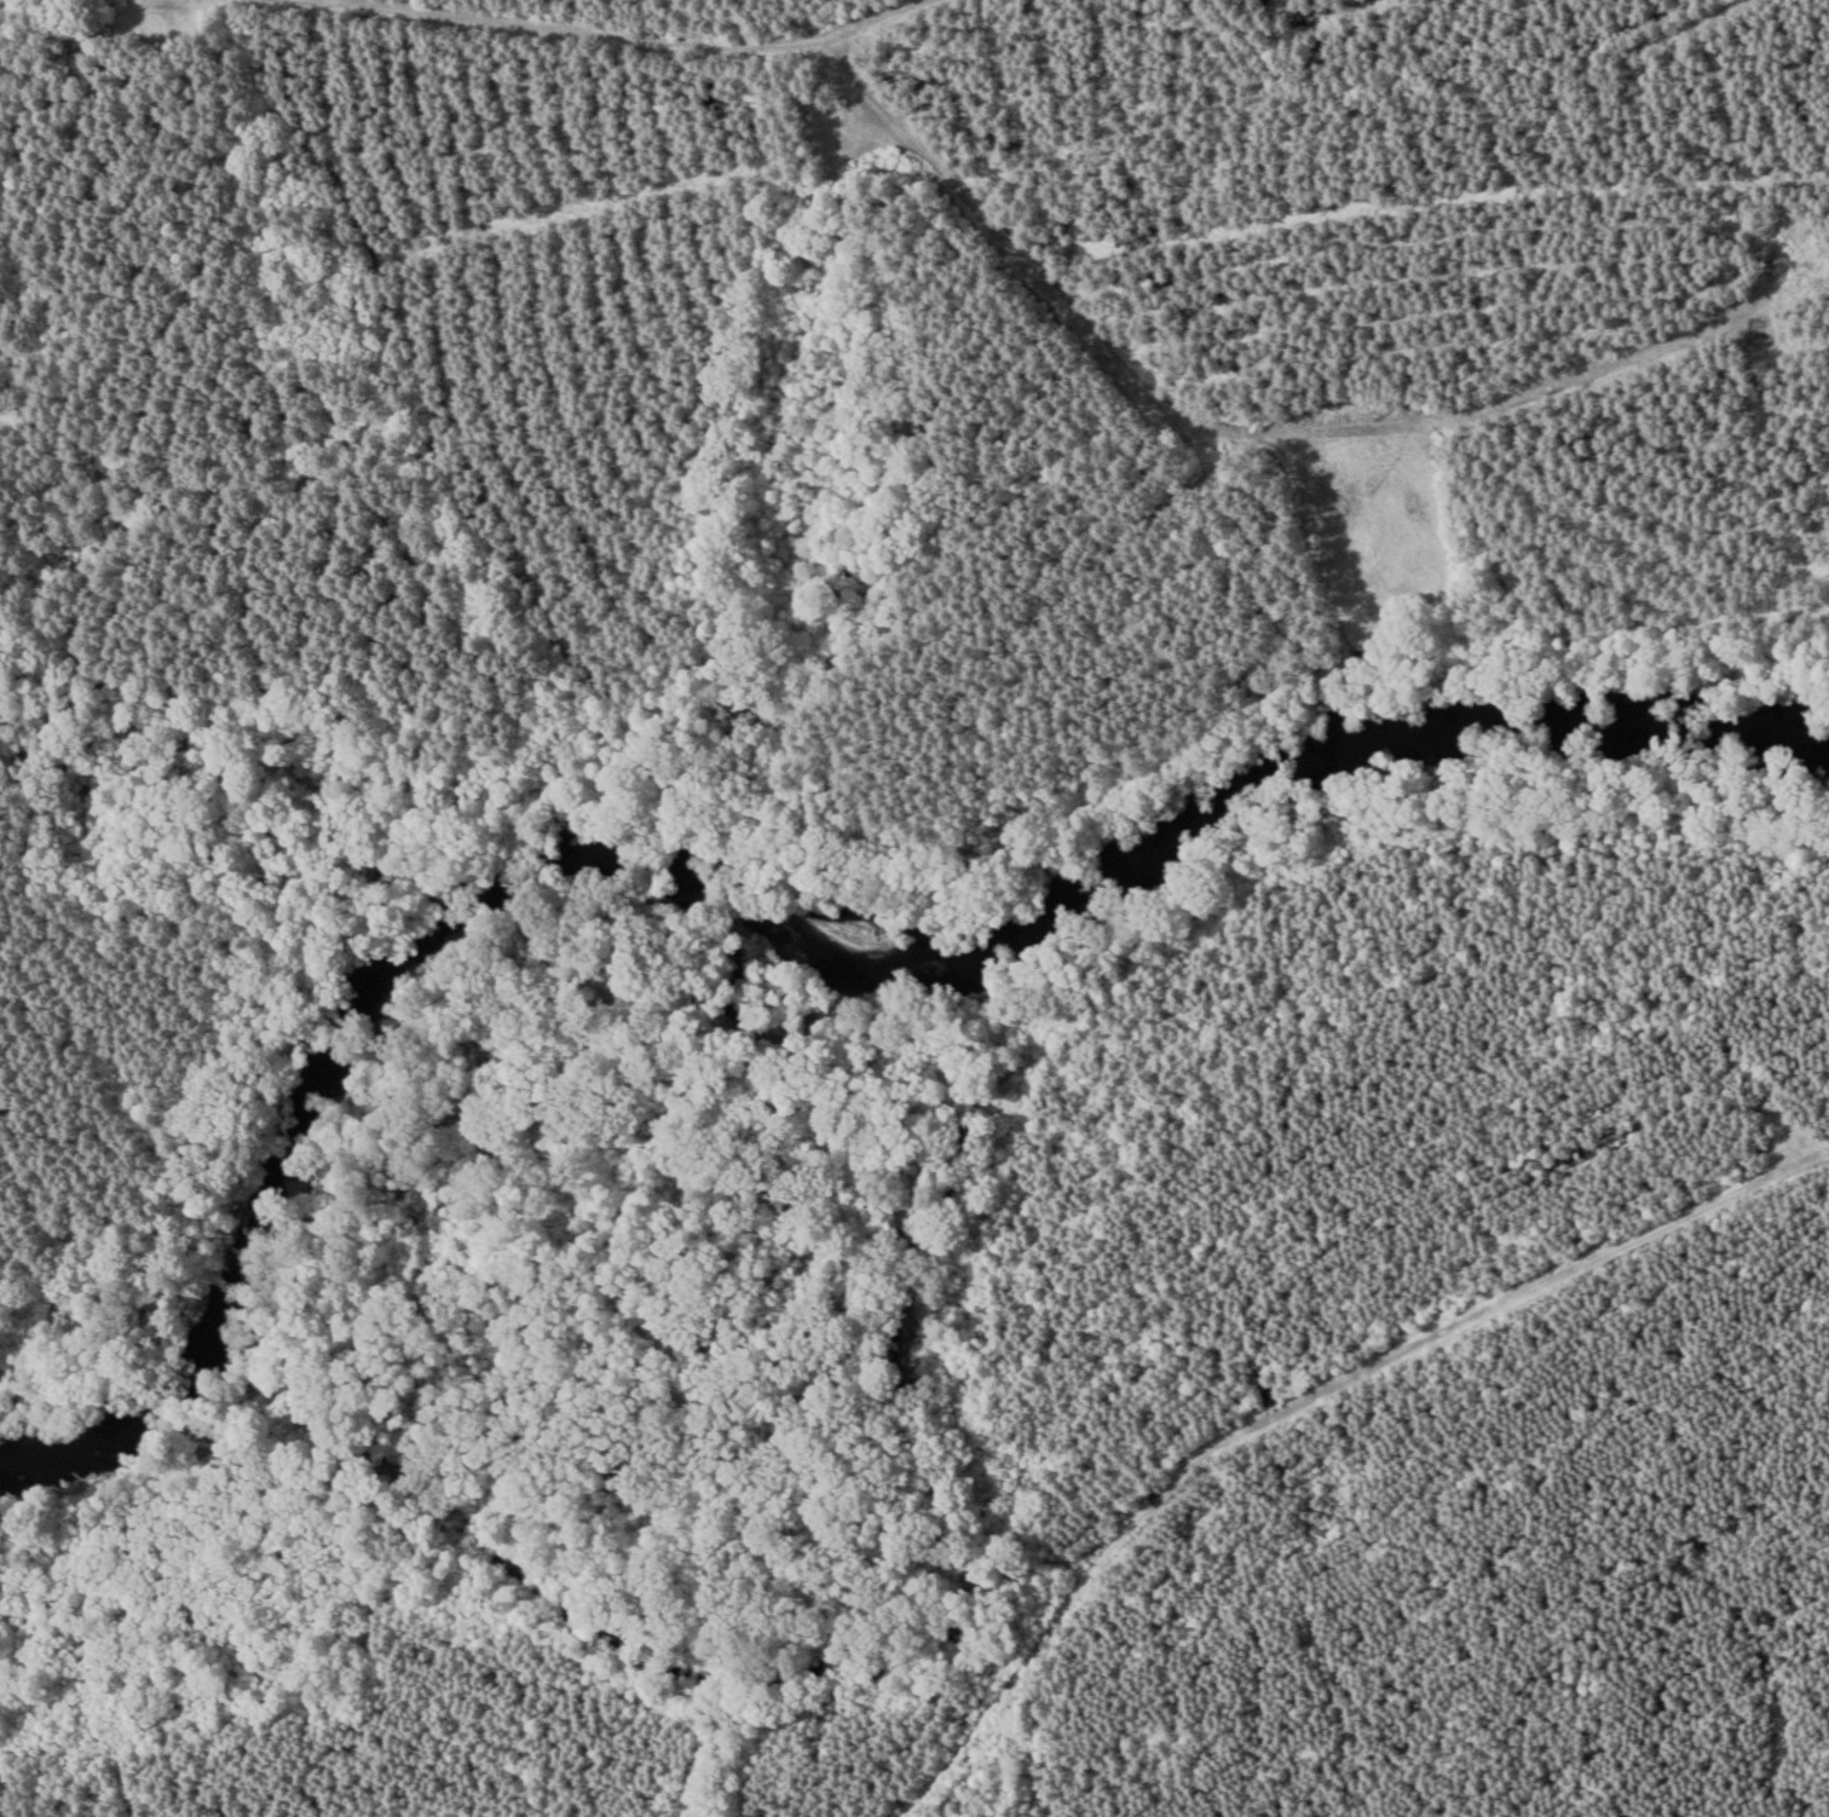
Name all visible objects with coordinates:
river: (1374, 746)
river: (458, 893)
river: (104, 1369)

